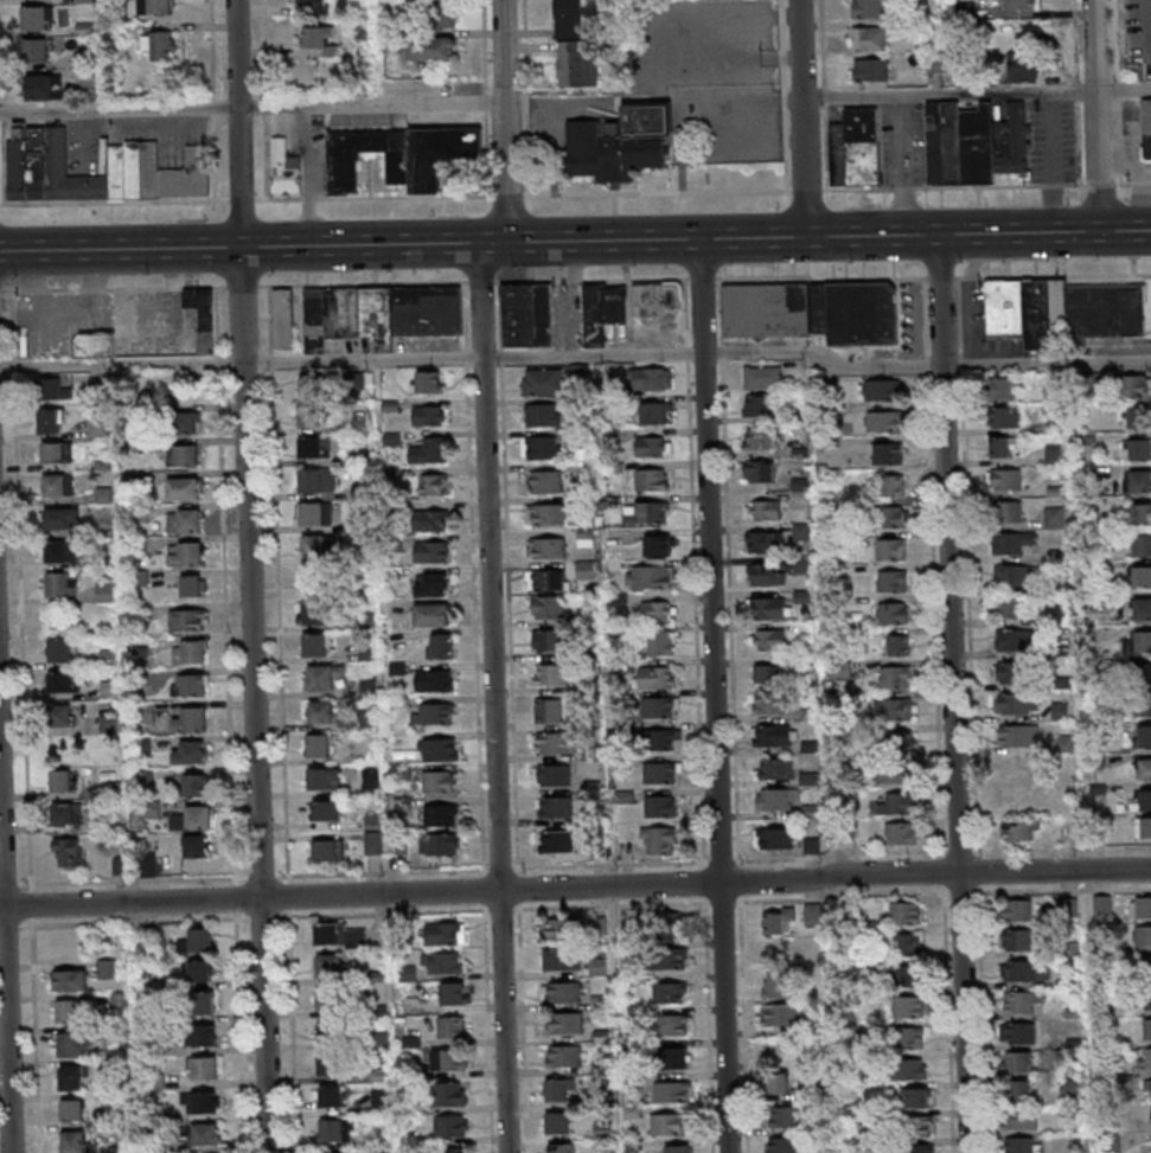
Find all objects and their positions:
building: (82, 1)
building: (308, 4)
building: (389, 5)
road: (776, 5)
building: (1016, 5)
building: (152, 7)
building: (865, 9)
building: (961, 11)
building: (433, 15)
road: (778, 17)
building: (564, 19)
building: (31, 20)
road: (1147, 28)
building: (81, 30)
parking lot: (1138, 34)
road: (779, 37)
building: (865, 40)
building: (316, 41)
road: (1072, 41)
road: (1113, 41)
building: (388, 43)
road: (819, 44)
building: (155, 46)
road: (481, 47)
road: (211, 49)
building: (426, 50)
building: (32, 52)
road: (779, 57)
building: (81, 60)
building: (931, 63)
building: (568, 66)
building: (1018, 70)
building: (868, 71)
building: (83, 77)
road: (780, 79)
road: (1115, 88)
building: (39, 89)
road: (1074, 91)
road: (976, 95)
road: (524, 97)
road: (821, 97)
road: (264, 100)
road: (781, 100)
road: (370, 103)
road: (482, 103)
road: (212, 107)
road: (119, 110)
road: (1095, 116)
road: (781, 118)
road: (801, 118)
road: (685, 121)
building: (1146, 127)
road: (782, 140)
building: (1011, 140)
building: (620, 141)
building: (935, 141)
building: (951, 141)
building: (977, 142)
road: (1076, 142)
building: (864, 146)
road: (823, 147)
building: (55, 149)
building: (437, 153)
road: (482, 153)
building: (840, 155)
road: (212, 158)
building: (147, 167)
building: (15, 168)
building: (132, 168)
building: (282, 168)
road: (782, 168)
building: (115, 171)
building: (341, 171)
building: (34, 175)
building: (185, 175)
road: (835, 188)
road: (504, 196)
road: (377, 197)
road: (244, 199)
road: (263, 199)
road: (115, 201)
road: (695, 238)
road: (120, 249)
road: (379, 283)
road: (225, 286)
road: (245, 286)
building: (654, 296)
building: (205, 303)
building: (601, 309)
building: (1062, 309)
building: (345, 312)
building: (770, 312)
building: (863, 313)
building: (524, 314)
building: (548, 314)
building: (378, 315)
building: (282, 318)
building: (318, 320)
building: (431, 324)
building: (100, 344)
road: (577, 355)
building: (762, 376)
building: (358, 378)
building: (651, 378)
building: (428, 382)
building: (543, 382)
building: (1139, 385)
building: (311, 386)
building: (52, 387)
building: (1004, 387)
building: (882, 389)
building: (761, 404)
building: (652, 412)
building: (312, 414)
building: (543, 414)
building: (428, 415)
building: (1142, 416)
building: (1008, 418)
building: (49, 419)
building: (884, 419)
building: (186, 422)
building: (96, 427)
building: (761, 438)
building: (652, 444)
building: (999, 446)
building: (314, 447)
building: (541, 447)
building: (1142, 449)
building: (429, 450)
building: (57, 451)
building: (893, 453)
building: (1053, 453)
building: (186, 454)
building: (757, 470)
building: (316, 479)
building: (651, 479)
building: (1009, 479)
building: (544, 481)
building: (1142, 481)
building: (58, 483)
building: (434, 483)
building: (894, 485)
building: (184, 487)
building: (765, 508)
building: (315, 512)
building: (648, 512)
building: (1009, 512)
building: (1143, 512)
building: (545, 513)
building: (894, 517)
building: (59, 518)
building: (1054, 518)
building: (184, 519)
building: (430, 519)
building: (586, 536)
building: (763, 540)
building: (1012, 543)
building: (1144, 544)
building: (313, 545)
building: (658, 545)
building: (546, 547)
building: (896, 550)
building: (60, 551)
building: (431, 551)
building: (185, 553)
road: (490, 574)
building: (766, 574)
road: (256, 576)
building: (650, 576)
building: (1012, 576)
building: (1144, 576)
building: (315, 578)
building: (545, 578)
road: (226, 581)
building: (897, 581)
building: (62, 583)
building: (192, 584)
road: (277, 584)
building: (431, 584)
building: (104, 588)
building: (550, 607)
building: (769, 607)
building: (1015, 607)
building: (1145, 608)
building: (657, 609)
building: (314, 611)
building: (896, 613)
building: (433, 614)
building: (188, 619)
building: (770, 639)
building: (1016, 639)
building: (548, 640)
building: (1145, 640)
building: (661, 642)
building: (314, 643)
building: (441, 645)
building: (896, 645)
building: (60, 649)
building: (190, 651)
building: (1017, 672)
building: (1145, 672)
building: (550, 673)
building: (772, 673)
building: (322, 675)
building: (657, 677)
building: (900, 677)
building: (434, 679)
building: (64, 680)
building: (190, 684)
road: (958, 693)
road: (720, 696)
building: (769, 702)
building: (1018, 703)
building: (1146, 704)
building: (658, 706)
building: (901, 707)
building: (548, 710)
building: (1061, 710)
building: (324, 711)
building: (439, 711)
building: (62, 713)
road: (511, 717)
building: (191, 719)
building: (367, 719)
building: (109, 723)
building: (772, 735)
building: (1146, 735)
building: (1018, 736)
building: (663, 739)
building: (896, 742)
building: (551, 743)
building: (321, 744)
building: (439, 749)
building: (188, 751)
building: (774, 768)
building: (1147, 769)
building: (402, 771)
building: (660, 771)
building: (1017, 771)
building: (902, 773)
building: (551, 774)
building: (325, 777)
building: (371, 779)
building: (63, 780)
building: (439, 780)
building: (194, 784)
building: (776, 799)
building: (1147, 800)
building: (1016, 801)
building: (903, 802)
building: (555, 806)
building: (660, 806)
building: (68, 812)
building: (326, 813)
building: (441, 814)
building: (193, 818)
building: (1149, 827)
building: (1018, 831)
building: (906, 833)
building: (774, 837)
building: (658, 839)
building: (556, 840)
building: (372, 843)
building: (439, 844)
building: (196, 845)
building: (812, 845)
building: (328, 850)
building: (66, 851)
road: (714, 861)
building: (147, 864)
road: (258, 876)
road: (121, 880)
road: (235, 880)
road: (575, 885)
road: (235, 896)
road: (288, 896)
building: (1139, 907)
road: (575, 908)
building: (1021, 910)
building: (814, 912)
building: (908, 914)
building: (778, 920)
building: (669, 922)
building: (559, 928)
building: (327, 933)
building: (446, 933)
building: (1143, 935)
building: (200, 939)
building: (1022, 941)
building: (912, 944)
building: (562, 957)
building: (669, 957)
building: (445, 962)
building: (330, 965)
building: (597, 966)
building: (1149, 966)
building: (107, 968)
building: (199, 969)
building: (1027, 971)
building: (912, 975)
building: (71, 980)
road: (5, 984)
building: (775, 986)
building: (567, 992)
building: (670, 992)
building: (454, 993)
building: (328, 997)
building: (1150, 999)
building: (1023, 1001)
building: (203, 1003)
building: (912, 1006)
building: (69, 1010)
building: (784, 1014)
road: (33, 1018)
building: (568, 1023)
building: (676, 1024)
building: (452, 1025)
building: (1150, 1029)
road: (239, 1031)
road: (292, 1031)
building: (331, 1031)
building: (1024, 1033)
building: (204, 1035)
building: (913, 1038)
building: (73, 1043)
building: (567, 1055)
building: (677, 1057)
building: (1147, 1057)
building: (446, 1058)
building: (1017, 1062)
building: (330, 1064)
building: (204, 1068)
building: (910, 1069)
building: (72, 1076)
building: (778, 1082)
building: (559, 1088)
building: (1147, 1088)
building: (670, 1090)
building: (1019, 1090)
building: (446, 1093)
building: (331, 1095)
building: (920, 1097)
building: (204, 1101)
building: (72, 1109)
building: (786, 1116)
building: (1023, 1119)
building: (559, 1122)
building: (667, 1123)
building: (449, 1125)
building: (919, 1127)
building: (332, 1129)
building: (206, 1133)
building: (73, 1140)
building: (786, 1145)
building: (1023, 1145)
building: (561, 1148)
building: (677, 1148)
building: (920, 1148)
building: (452, 1151)
building: (333, 1152)

